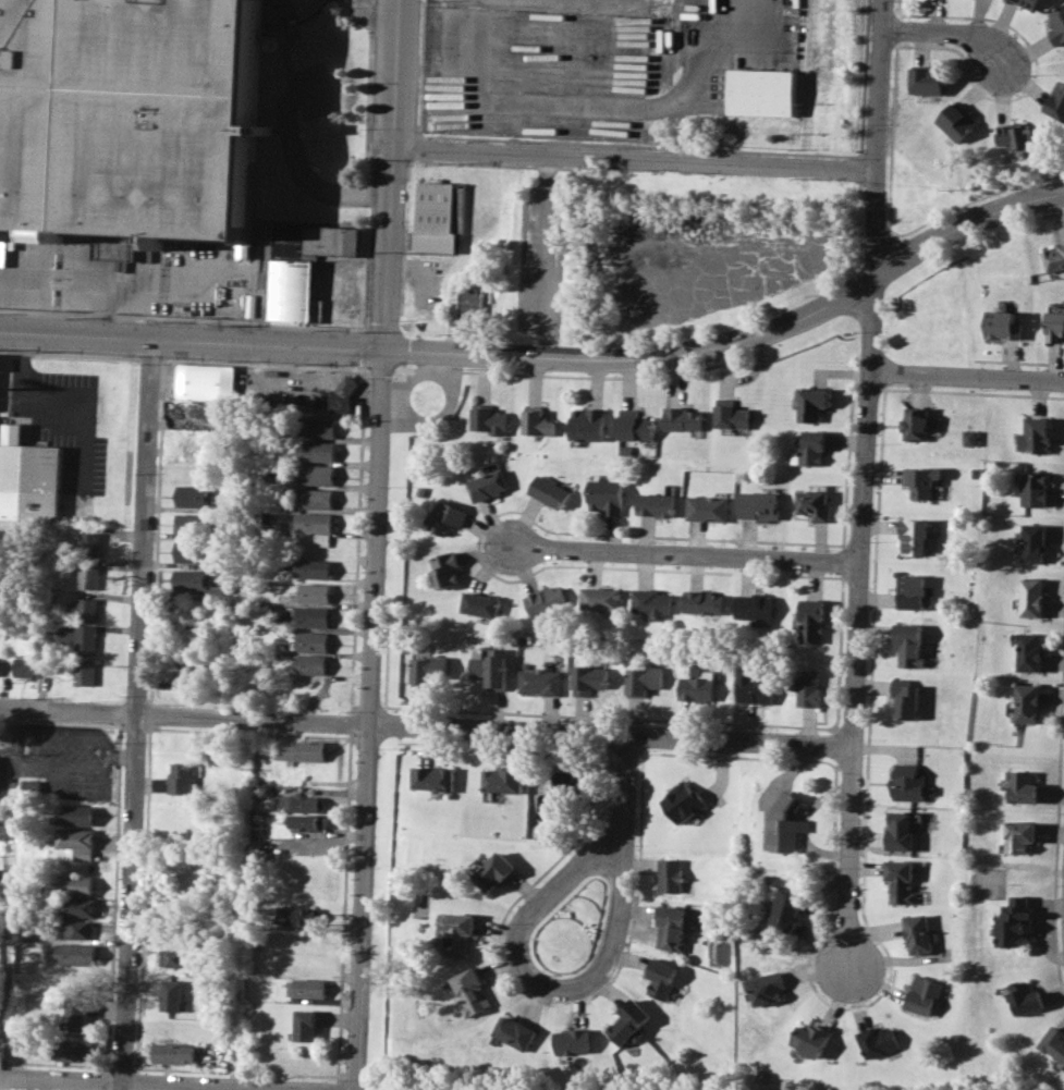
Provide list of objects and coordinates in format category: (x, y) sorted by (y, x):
building: (1028, 2)
parking lot: (505, 3)
road: (371, 20)
building: (1057, 23)
road: (951, 29)
parking lot: (608, 59)
building: (927, 79)
parking lot: (316, 91)
building: (761, 91)
building: (1056, 100)
road: (607, 106)
building: (130, 115)
building: (956, 121)
building: (1014, 134)
road: (296, 158)
road: (634, 158)
road: (390, 175)
building: (440, 215)
building: (313, 241)
road: (543, 256)
building: (1053, 257)
road: (132, 271)
parking lot: (129, 272)
building: (296, 293)
road: (835, 297)
building: (474, 303)
road: (99, 304)
building: (1055, 323)
building: (1002, 324)
road: (347, 328)
road: (191, 343)
road: (488, 356)
road: (966, 379)
building: (351, 382)
building: (259, 384)
building: (809, 403)
road: (54, 406)
building: (731, 413)
building: (683, 417)
building: (492, 419)
building: (538, 421)
building: (589, 422)
building: (914, 422)
building: (635, 425)
building: (320, 426)
building: (1035, 434)
building: (967, 436)
building: (810, 448)
building: (316, 450)
building: (318, 474)
building: (30, 478)
building: (918, 480)
building: (489, 485)
road: (863, 485)
building: (1032, 489)
building: (551, 490)
building: (608, 494)
building: (195, 495)
building: (314, 498)
building: (658, 503)
building: (760, 504)
building: (815, 504)
building: (709, 506)
building: (448, 516)
building: (315, 520)
building: (194, 523)
building: (914, 536)
building: (322, 540)
building: (90, 541)
building: (1031, 541)
building: (195, 551)
road: (539, 555)
road: (720, 562)
building: (310, 566)
building: (447, 570)
building: (89, 575)
building: (220, 577)
building: (195, 581)
building: (313, 592)
building: (912, 592)
building: (1030, 596)
building: (602, 598)
building: (547, 600)
building: (652, 601)
building: (705, 601)
building: (481, 603)
building: (756, 607)
building: (85, 608)
building: (302, 614)
building: (814, 620)
building: (81, 637)
building: (311, 640)
building: (908, 642)
building: (1029, 651)
building: (25, 663)
building: (309, 664)
building: (492, 668)
building: (429, 669)
building: (86, 671)
building: (589, 677)
building: (645, 678)
building: (541, 681)
building: (699, 686)
building: (756, 686)
building: (809, 688)
building: (905, 696)
building: (1027, 701)
road: (133, 715)
road: (20, 719)
road: (368, 721)
road: (426, 727)
building: (304, 749)
road: (120, 754)
parking lot: (60, 758)
road: (27, 762)
building: (182, 777)
building: (432, 777)
building: (502, 780)
building: (567, 780)
building: (908, 783)
building: (1020, 785)
building: (33, 786)
road: (626, 787)
building: (686, 800)
building: (303, 803)
building: (73, 815)
building: (787, 821)
building: (307, 822)
building: (900, 830)
building: (1017, 834)
building: (77, 841)
building: (494, 870)
building: (669, 873)
building: (900, 879)
building: (72, 884)
road: (615, 903)
building: (77, 906)
building: (788, 906)
building: (299, 916)
road: (805, 917)
building: (1012, 921)
building: (669, 927)
building: (78, 929)
road: (1039, 929)
building: (918, 931)
building: (458, 933)
building: (76, 953)
building: (173, 956)
building: (658, 976)
building: (304, 987)
building: (768, 987)
building: (473, 991)
building: (172, 994)
building: (922, 994)
building: (1025, 997)
building: (77, 1014)
building: (0, 1015)
building: (305, 1017)
building: (627, 1020)
building: (514, 1031)
building: (810, 1038)
building: (571, 1041)
building: (1053, 1041)
building: (876, 1042)
building: (74, 1052)
building: (174, 1052)
road: (163, 1082)
road: (0, 1083)
park: (404, 1088)

